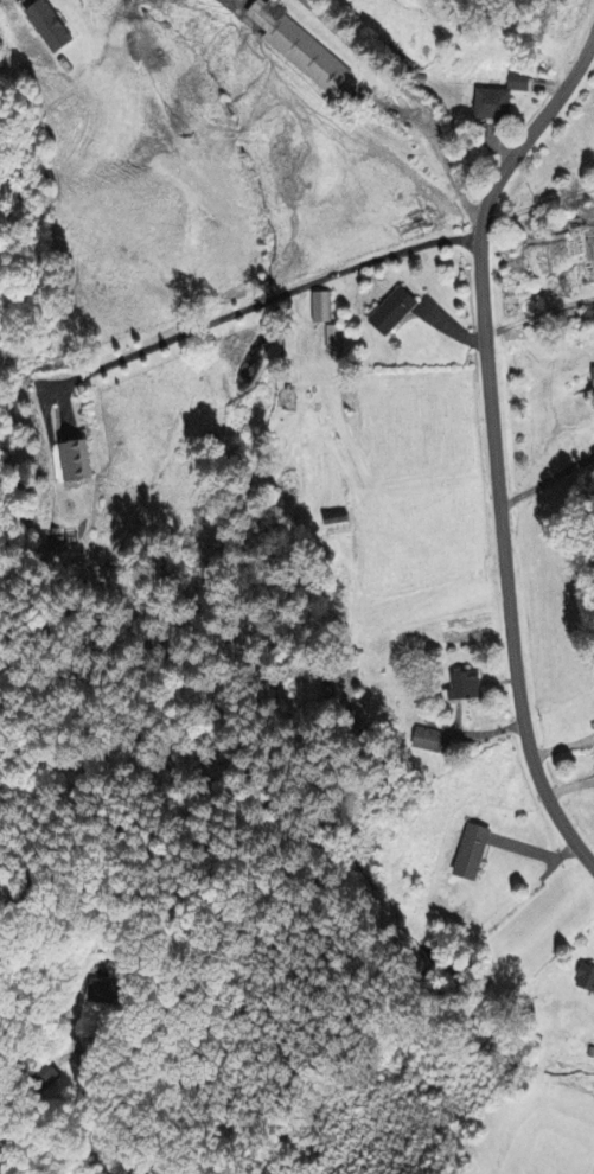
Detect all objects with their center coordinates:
building: (49, 27)
building: (304, 52)
building: (522, 83)
road: (411, 92)
building: (496, 106)
road: (537, 204)
road: (274, 296)
building: (321, 308)
building: (397, 312)
road: (538, 314)
building: (333, 339)
road: (491, 441)
road: (544, 478)
building: (340, 525)
building: (470, 687)
building: (474, 854)
building: (587, 978)
road: (88, 1114)
road: (17, 1146)

